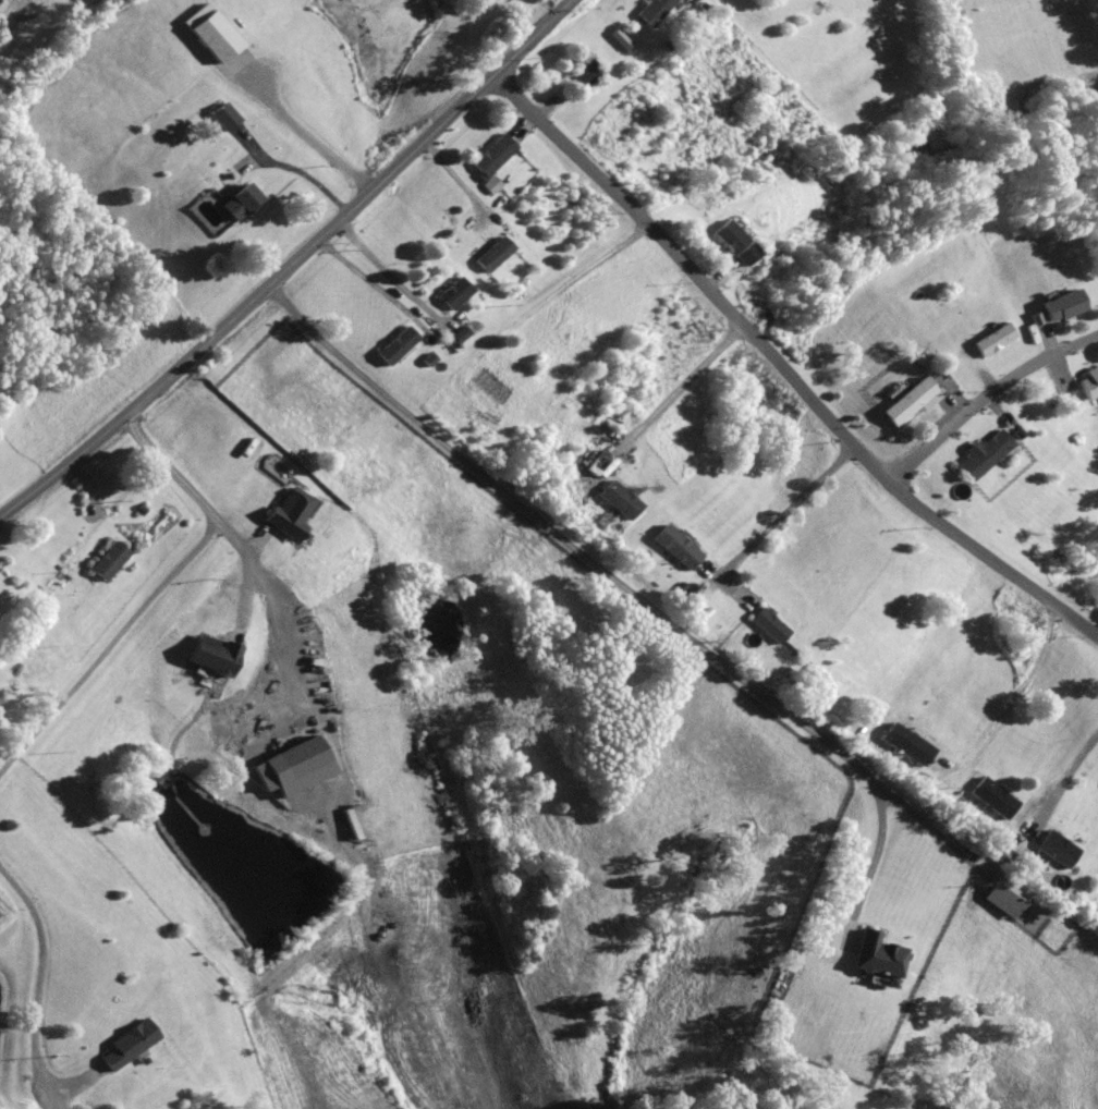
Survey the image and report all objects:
building: (657, 10)
building: (217, 39)
building: (618, 39)
building: (586, 75)
road: (553, 105)
building: (224, 115)
building: (520, 133)
road: (303, 134)
building: (493, 157)
road: (290, 168)
road: (455, 178)
building: (832, 180)
building: (486, 187)
building: (241, 200)
building: (736, 242)
building: (495, 253)
road: (290, 265)
road: (719, 277)
road: (378, 287)
building: (454, 291)
road: (547, 294)
building: (1060, 303)
building: (461, 331)
road: (292, 337)
building: (455, 337)
building: (991, 339)
road: (1048, 339)
building: (396, 343)
building: (428, 357)
road: (1061, 368)
road: (781, 371)
road: (985, 374)
building: (1089, 380)
building: (489, 382)
road: (661, 394)
building: (304, 397)
road: (986, 397)
road: (955, 398)
building: (911, 399)
road: (1000, 411)
building: (321, 429)
building: (988, 452)
road: (190, 483)
building: (620, 499)
road: (784, 512)
building: (290, 513)
building: (676, 547)
building: (112, 559)
road: (245, 590)
road: (638, 597)
building: (769, 625)
road: (114, 644)
building: (217, 655)
road: (1005, 703)
building: (905, 743)
building: (293, 756)
road: (1067, 776)
building: (991, 796)
building: (1059, 846)
building: (1017, 849)
building: (999, 895)
building: (880, 954)
road: (40, 999)
building: (130, 1041)
building: (77, 1108)
building: (82, 1108)

